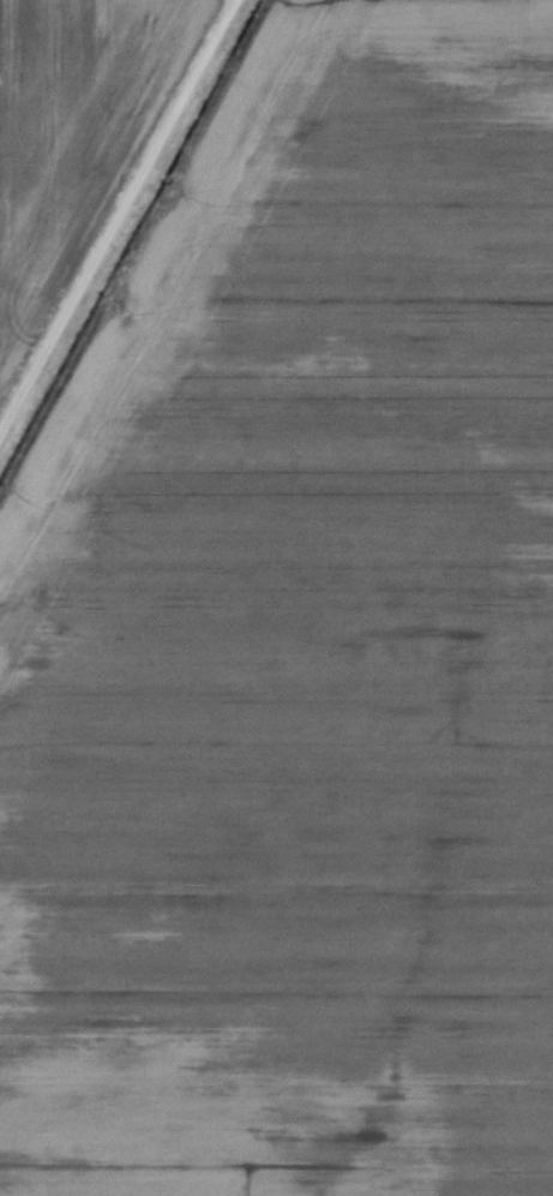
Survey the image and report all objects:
road: (90, 163)

